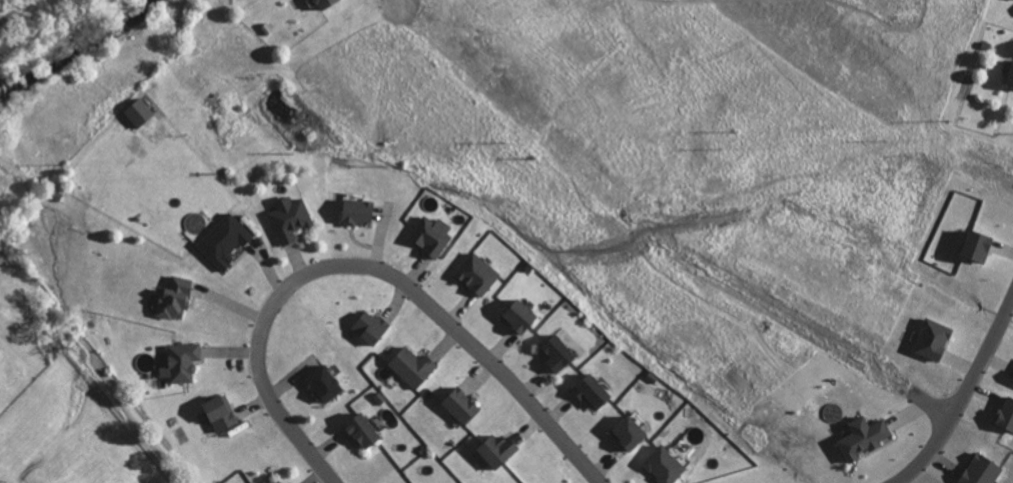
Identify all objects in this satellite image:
road: (396, 3)
building: (328, 4)
building: (1011, 81)
building: (140, 111)
building: (360, 210)
building: (290, 217)
building: (432, 234)
building: (226, 240)
building: (979, 244)
road: (370, 266)
building: (478, 273)
building: (176, 297)
building: (522, 314)
building: (371, 326)
building: (934, 338)
building: (558, 351)
building: (182, 361)
building: (414, 365)
building: (326, 382)
building: (594, 390)
road: (965, 395)
building: (462, 404)
building: (222, 411)
building: (1007, 413)
building: (364, 430)
building: (631, 431)
building: (865, 436)
building: (499, 449)
building: (665, 464)
building: (982, 470)
building: (278, 482)

